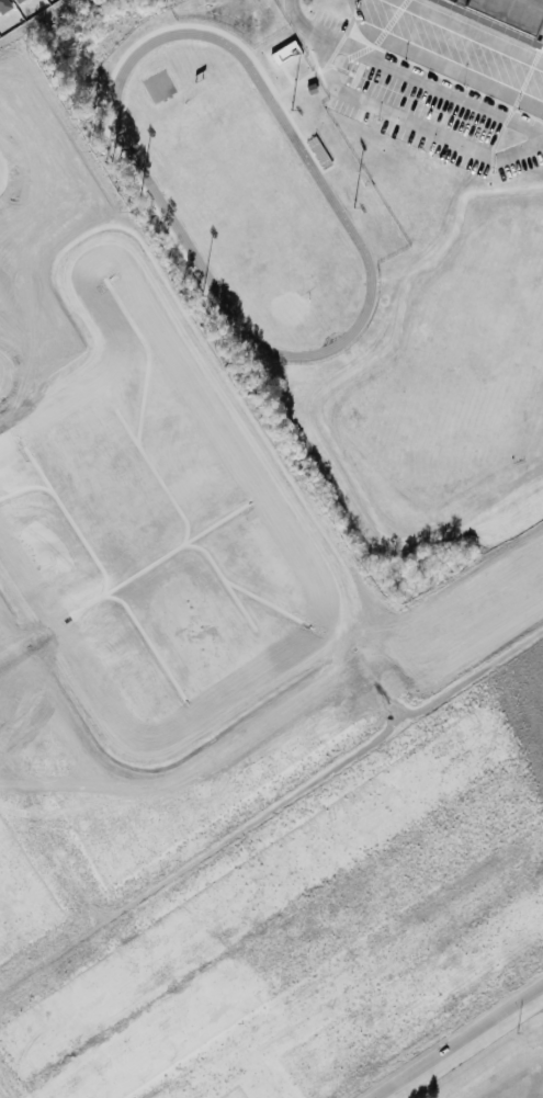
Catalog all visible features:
building: (509, 12)
road: (474, 31)
road: (455, 71)
road: (408, 75)
road: (408, 124)
park: (248, 199)
park: (467, 344)
road: (273, 812)
road: (49, 844)
road: (394, 949)
road: (462, 1043)
road: (208, 1074)
road: (261, 1074)
road: (1, 1094)

